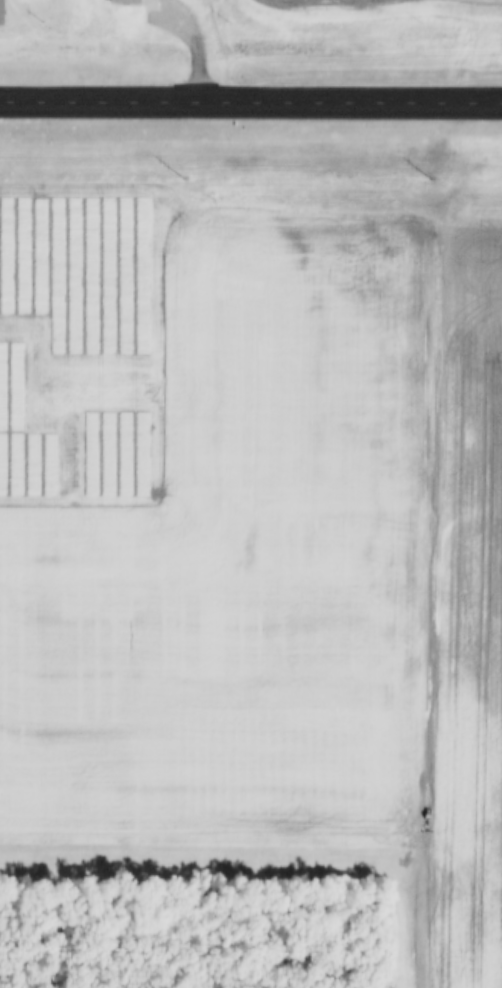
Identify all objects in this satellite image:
building: (128, 1)
building: (3, 12)
road: (122, 103)
road: (373, 104)
road: (432, 542)

